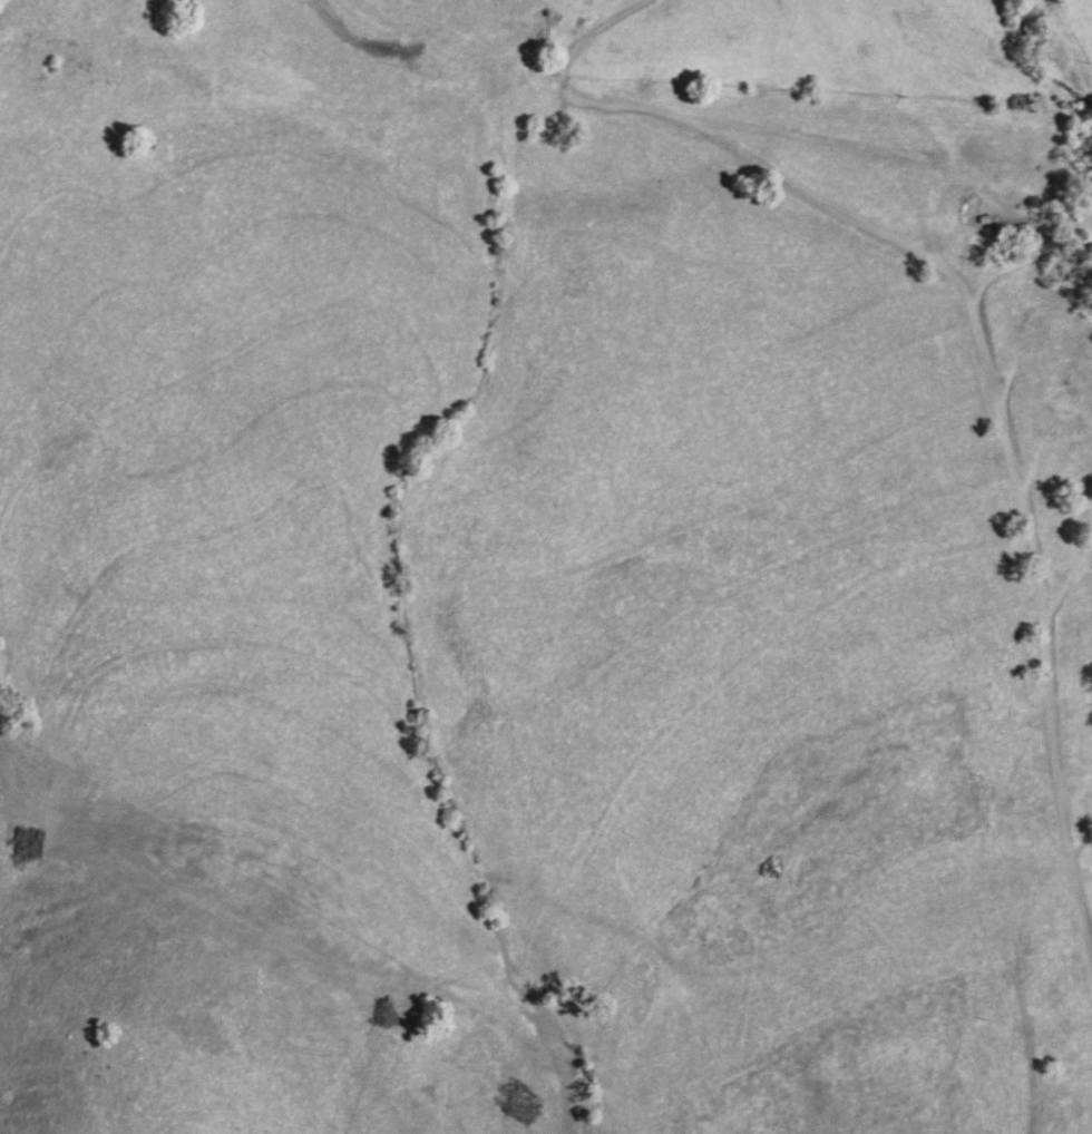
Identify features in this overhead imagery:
road: (955, 282)

